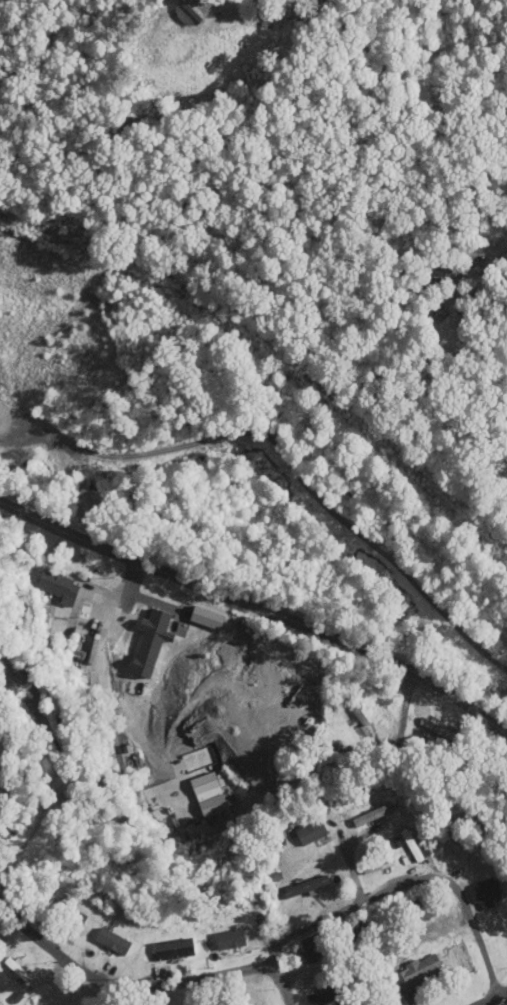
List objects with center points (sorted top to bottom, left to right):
building: (193, 10)
building: (478, 279)
railway: (275, 356)
building: (58, 581)
road: (258, 598)
building: (176, 612)
building: (82, 620)
building: (506, 640)
road: (94, 671)
building: (11, 676)
building: (296, 709)
building: (263, 746)
road: (49, 793)
building: (370, 816)
building: (311, 833)
building: (378, 866)
road: (407, 880)
building: (306, 887)
building: (484, 894)
building: (423, 910)
building: (72, 915)
building: (231, 940)
building: (114, 942)
building: (175, 950)
building: (311, 950)
building: (419, 974)
road: (143, 986)
building: (330, 995)
road: (491, 997)
building: (243, 1000)

